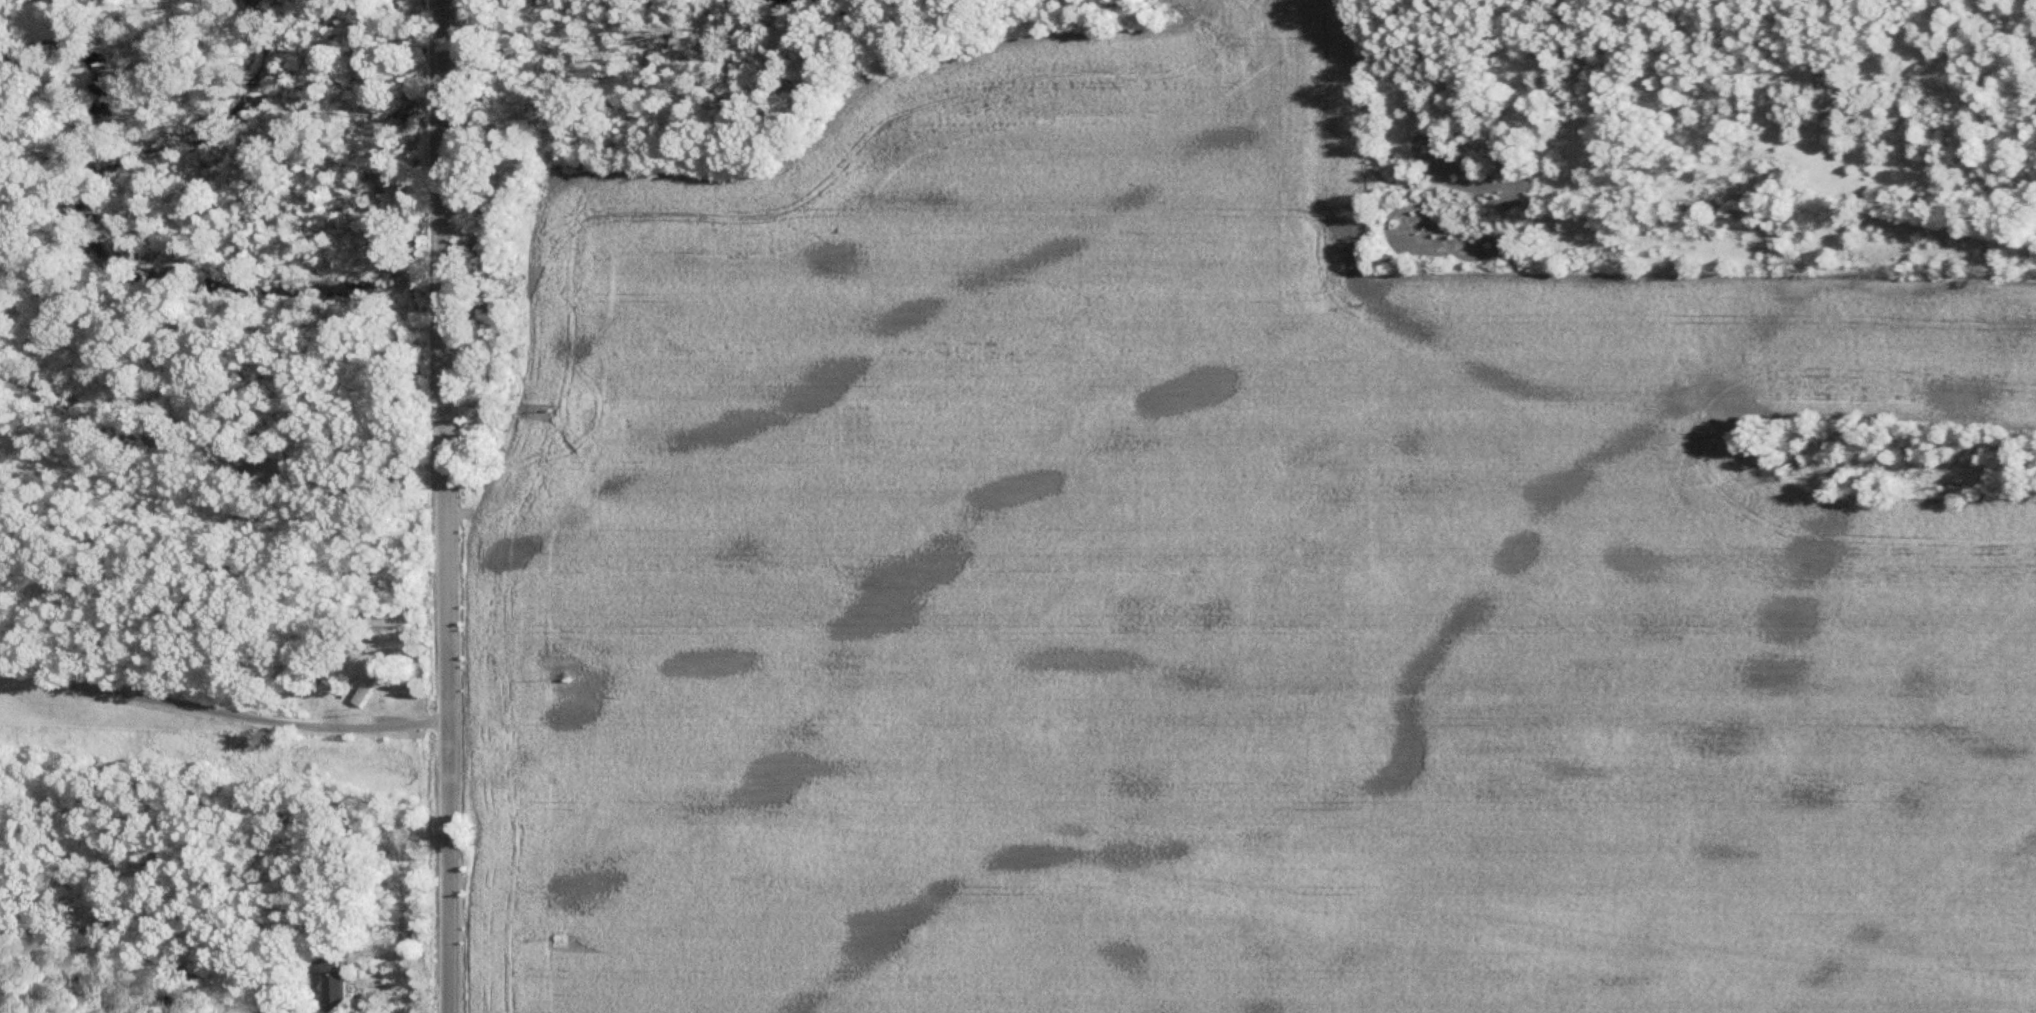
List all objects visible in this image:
road: (447, 506)
building: (372, 689)
road: (218, 708)
building: (340, 979)

